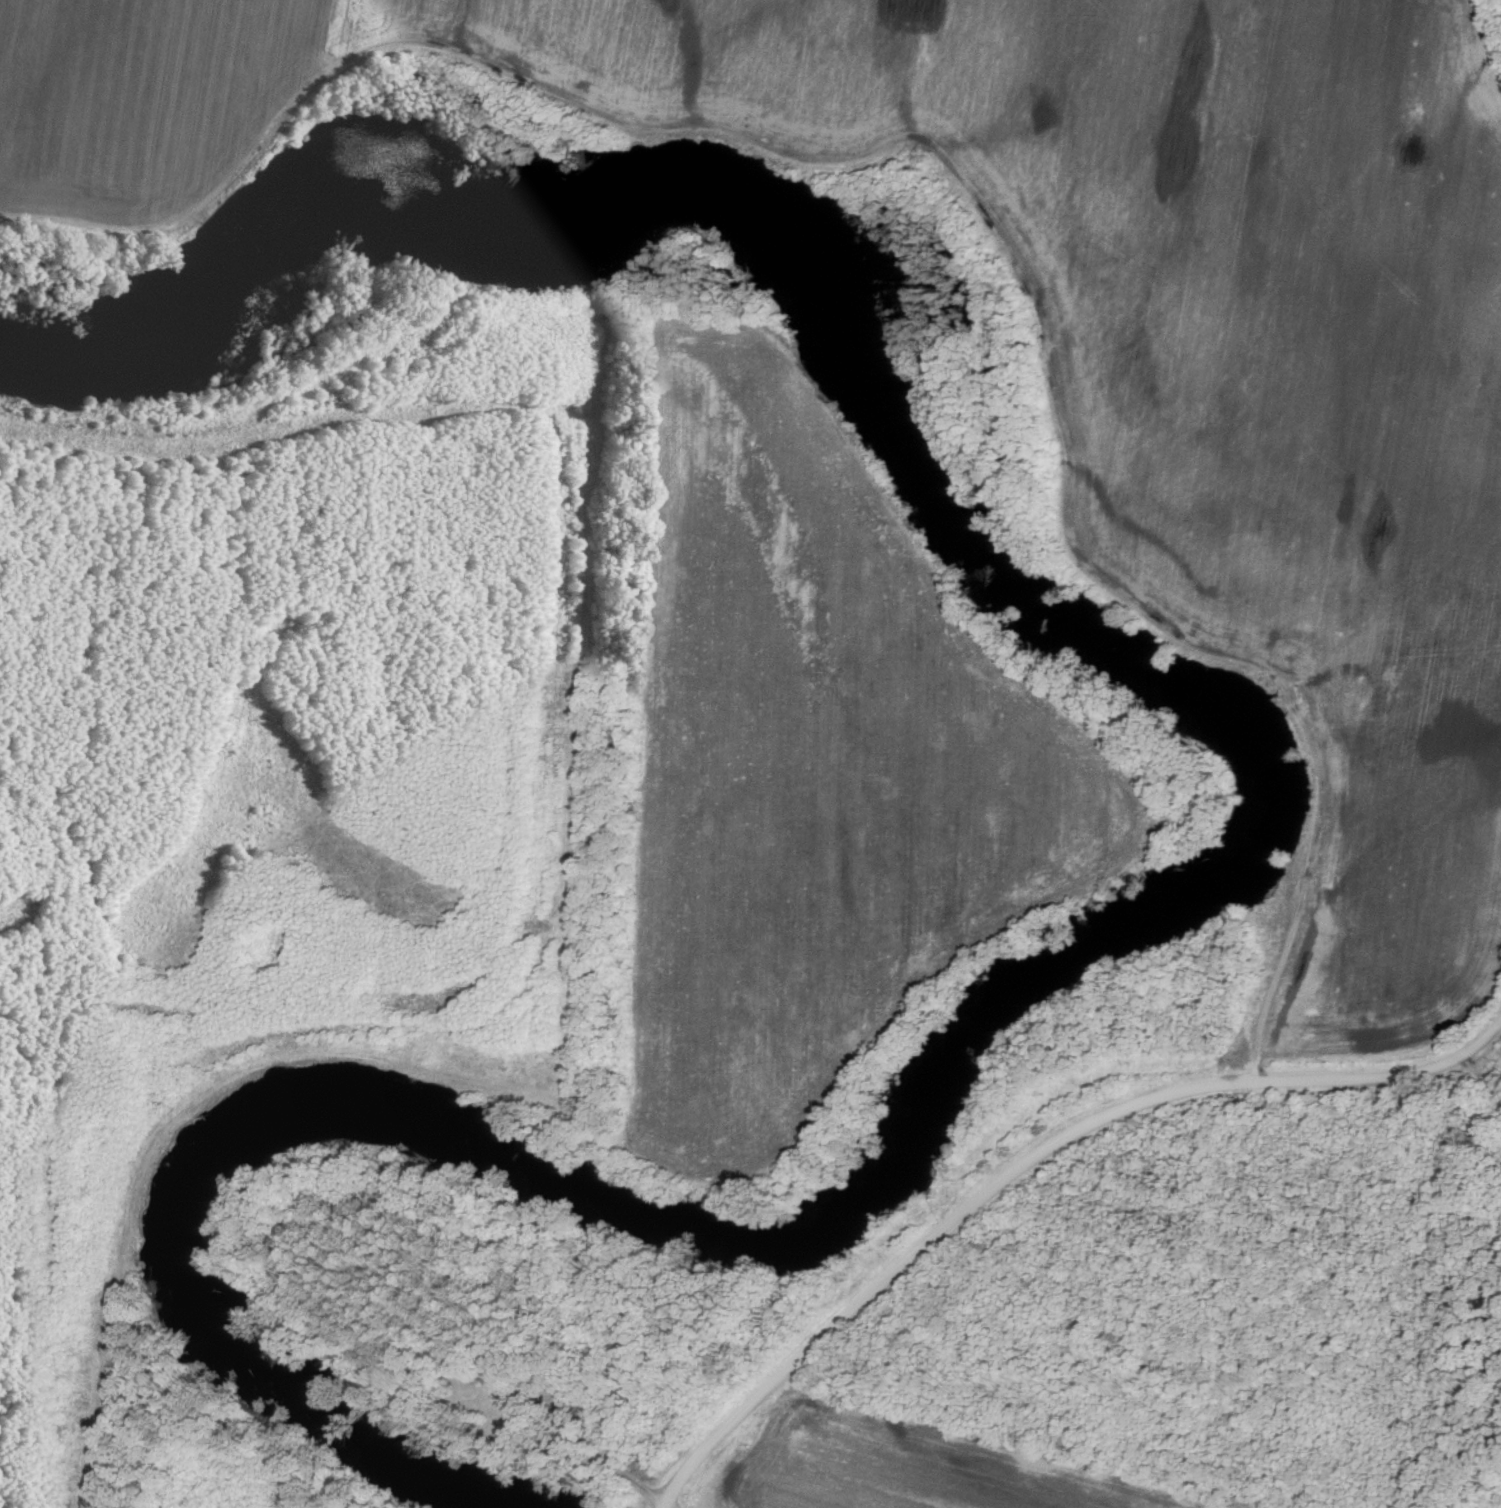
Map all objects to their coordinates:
river: (1263, 837)
road: (1028, 1161)
building: (482, 1399)

